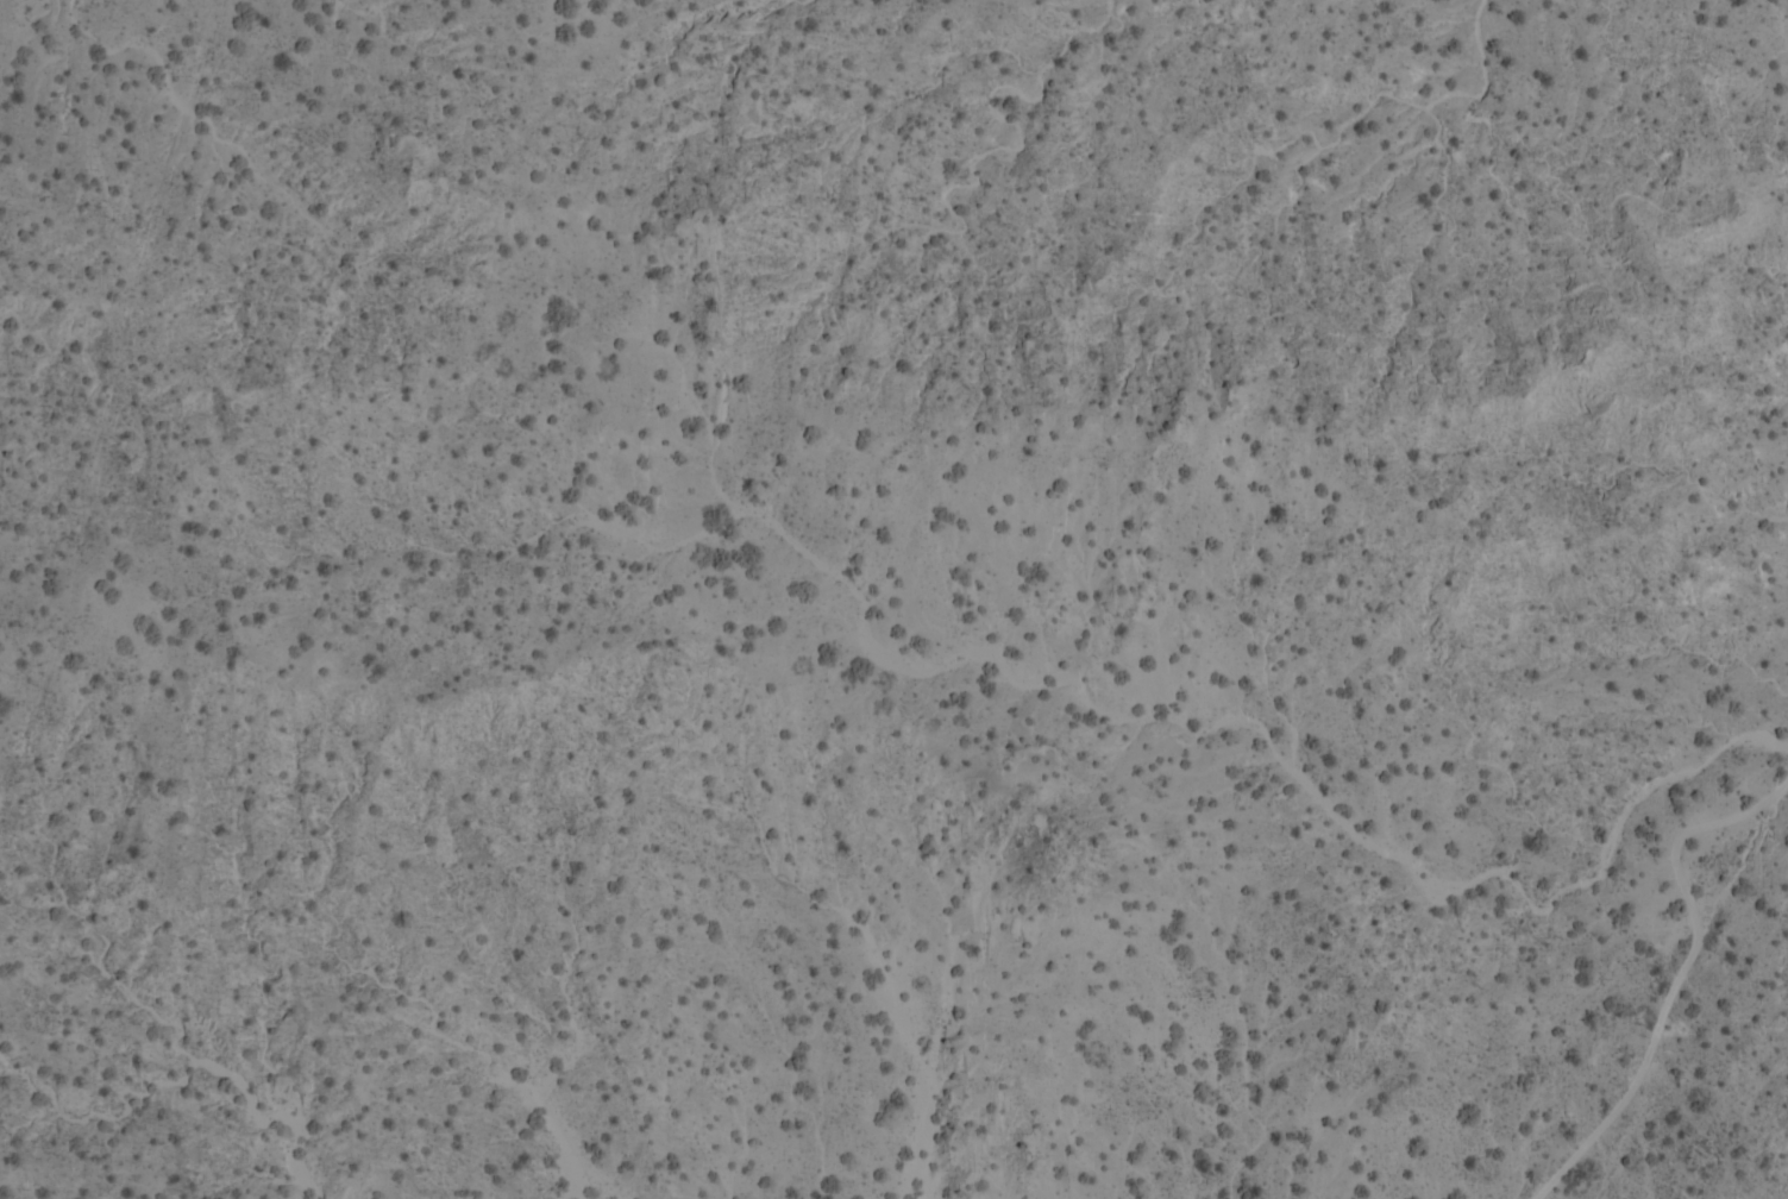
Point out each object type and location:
road: (1679, 981)

